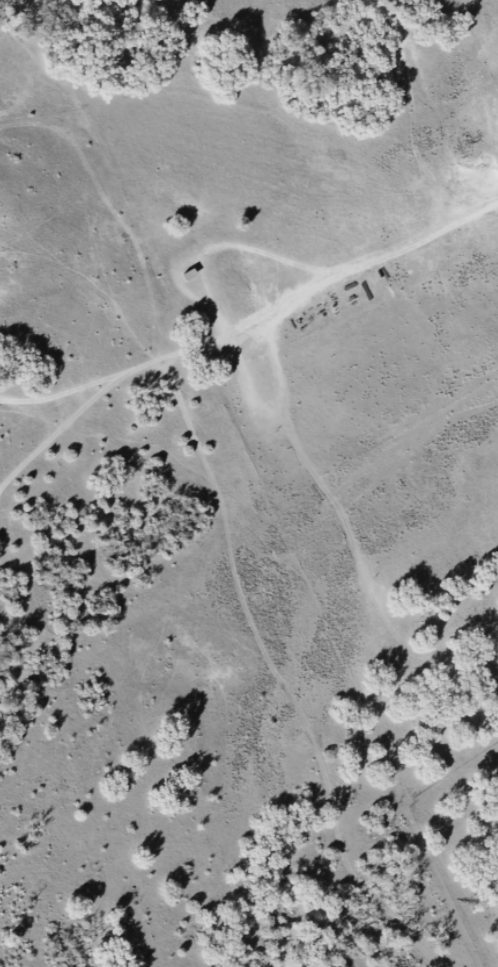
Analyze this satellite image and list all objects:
road: (255, 325)

